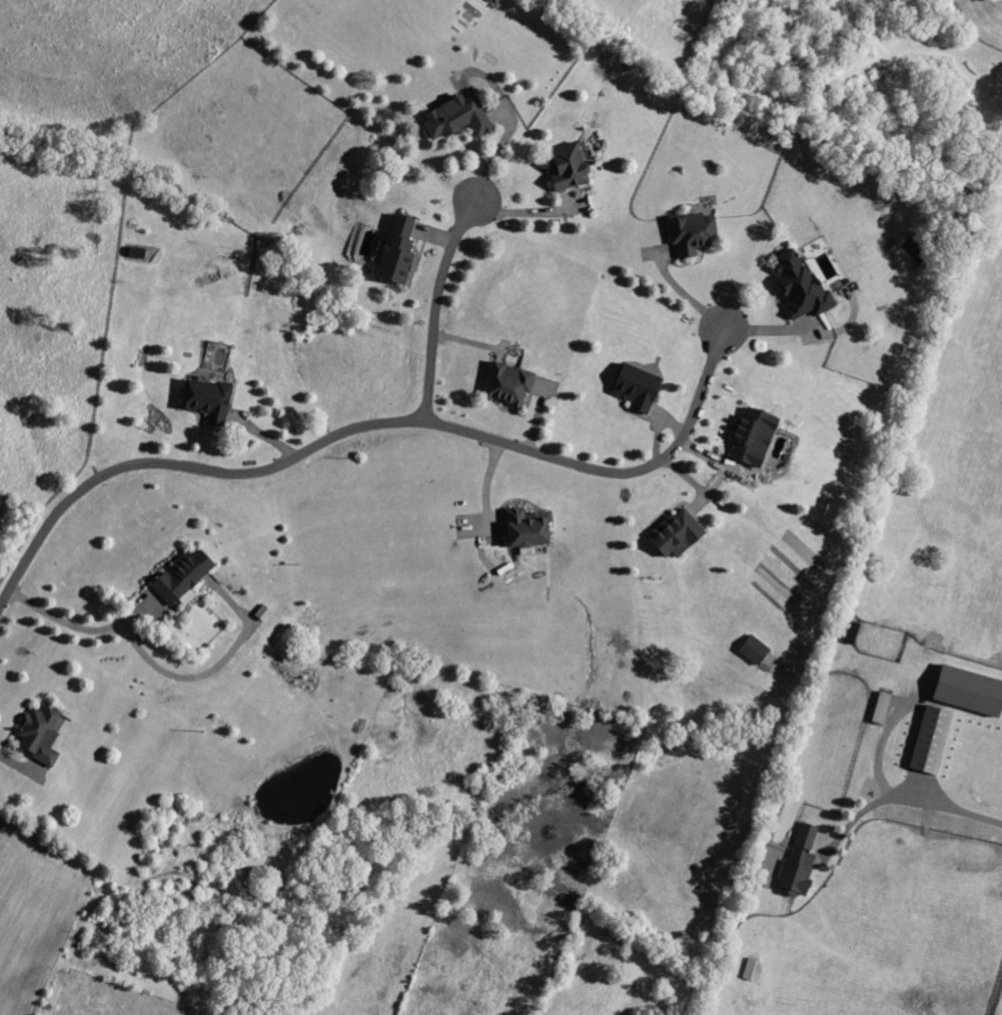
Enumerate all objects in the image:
building: (452, 117)
building: (562, 166)
building: (687, 232)
building: (393, 252)
building: (795, 287)
road: (684, 296)
road: (437, 298)
building: (504, 385)
building: (632, 387)
building: (203, 400)
road: (380, 425)
building: (746, 436)
road: (485, 490)
building: (521, 528)
building: (672, 535)
building: (179, 579)
building: (751, 650)
road: (157, 667)
building: (964, 691)
building: (878, 708)
building: (36, 734)
building: (926, 740)
road: (878, 749)
road: (15, 765)
road: (903, 799)
building: (796, 864)

